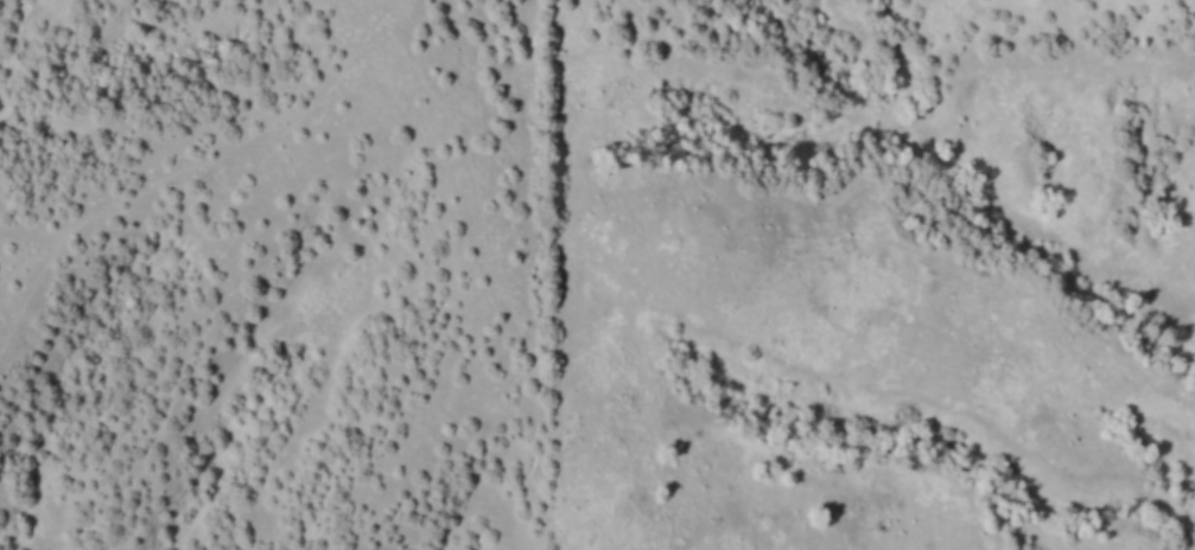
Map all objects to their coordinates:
road: (388, 23)
road: (362, 37)
road: (267, 219)
crop: (267, 275)
road: (500, 290)

